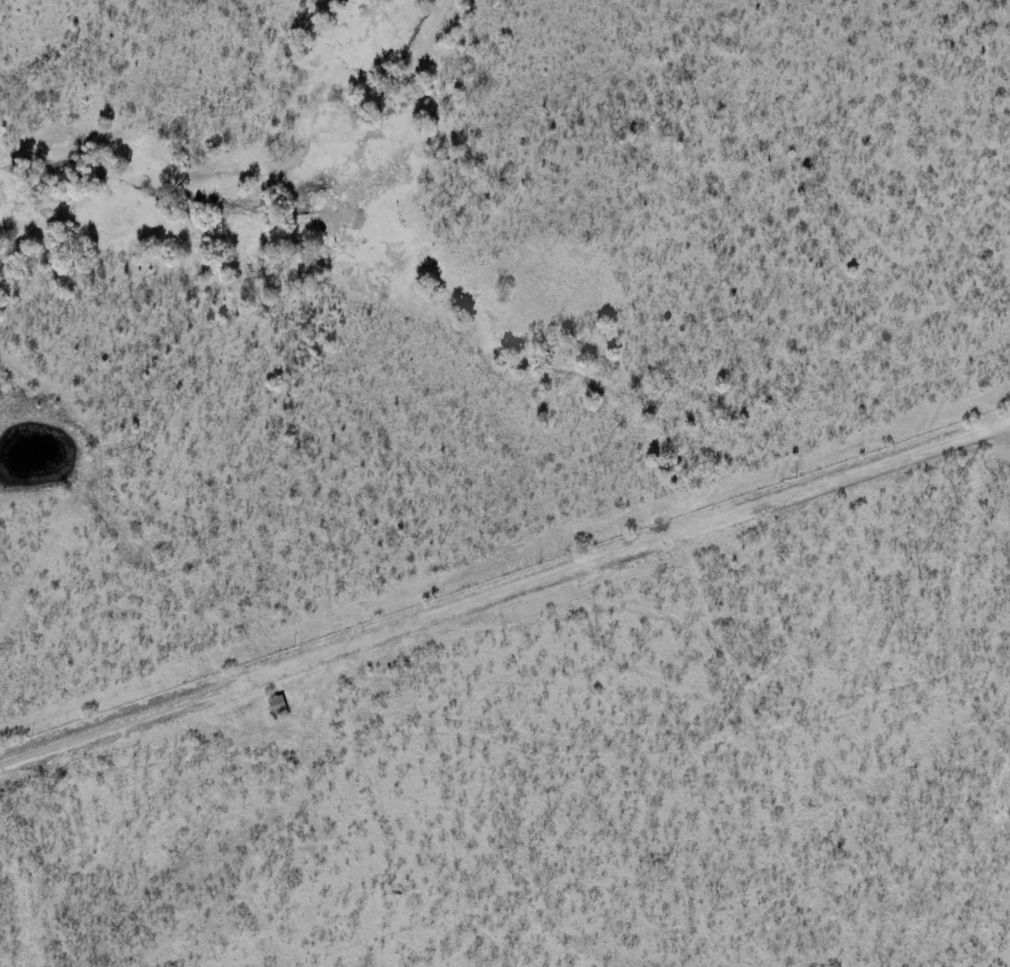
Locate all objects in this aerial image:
road: (504, 610)

